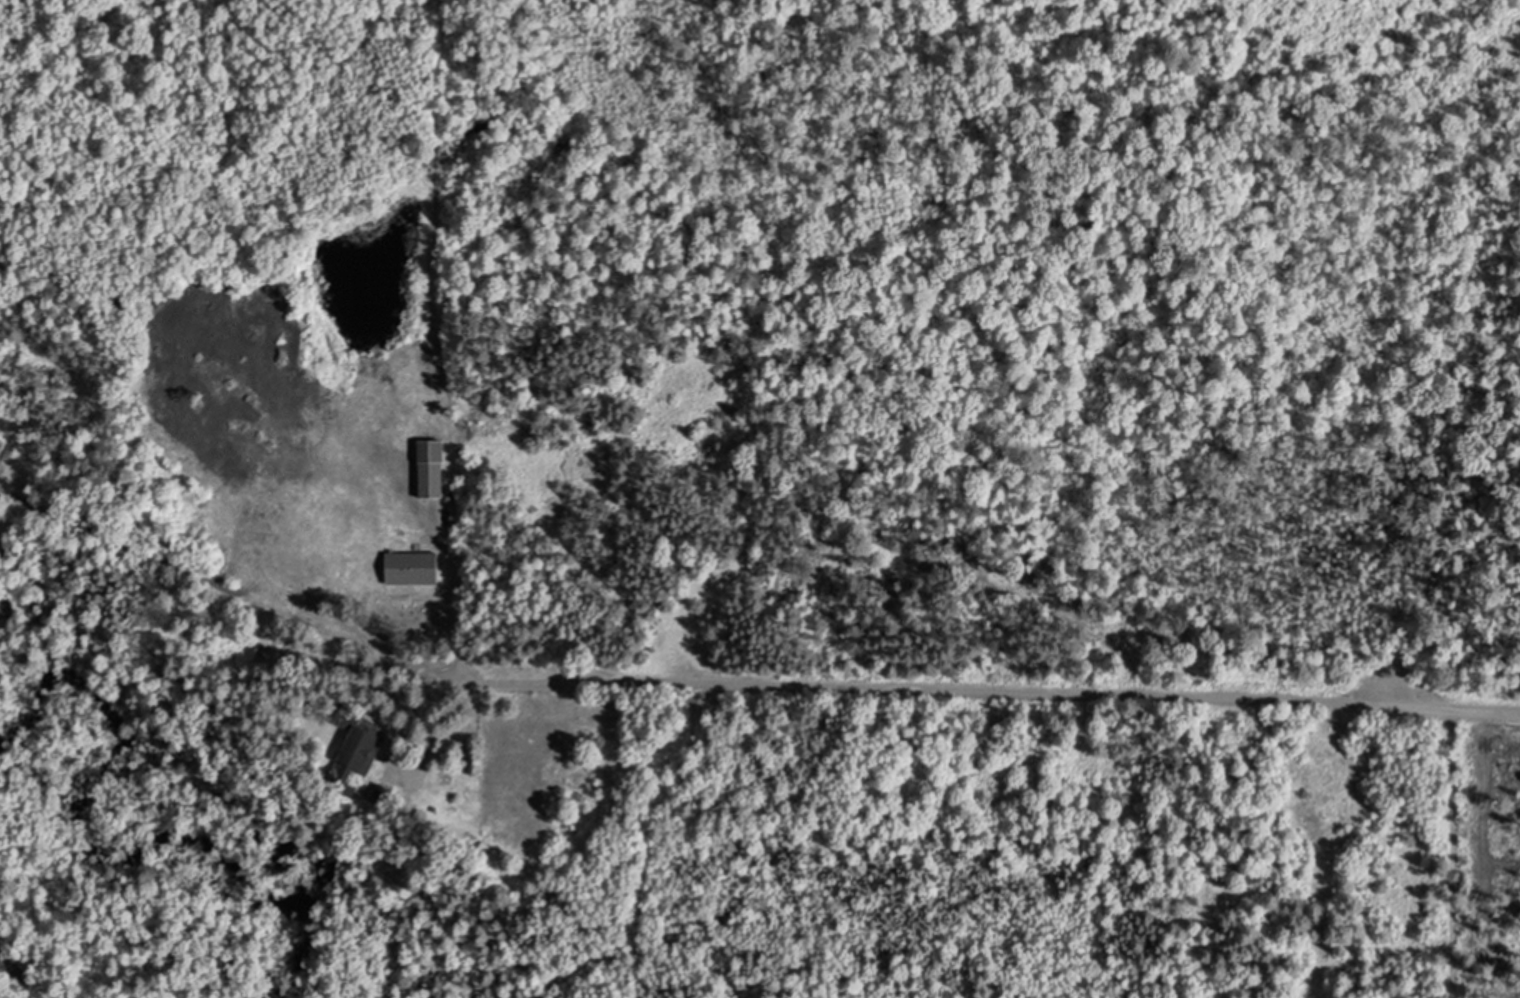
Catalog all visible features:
building: (433, 469)
building: (415, 568)
road: (993, 691)
building: (360, 755)
building: (386, 793)
building: (480, 846)

